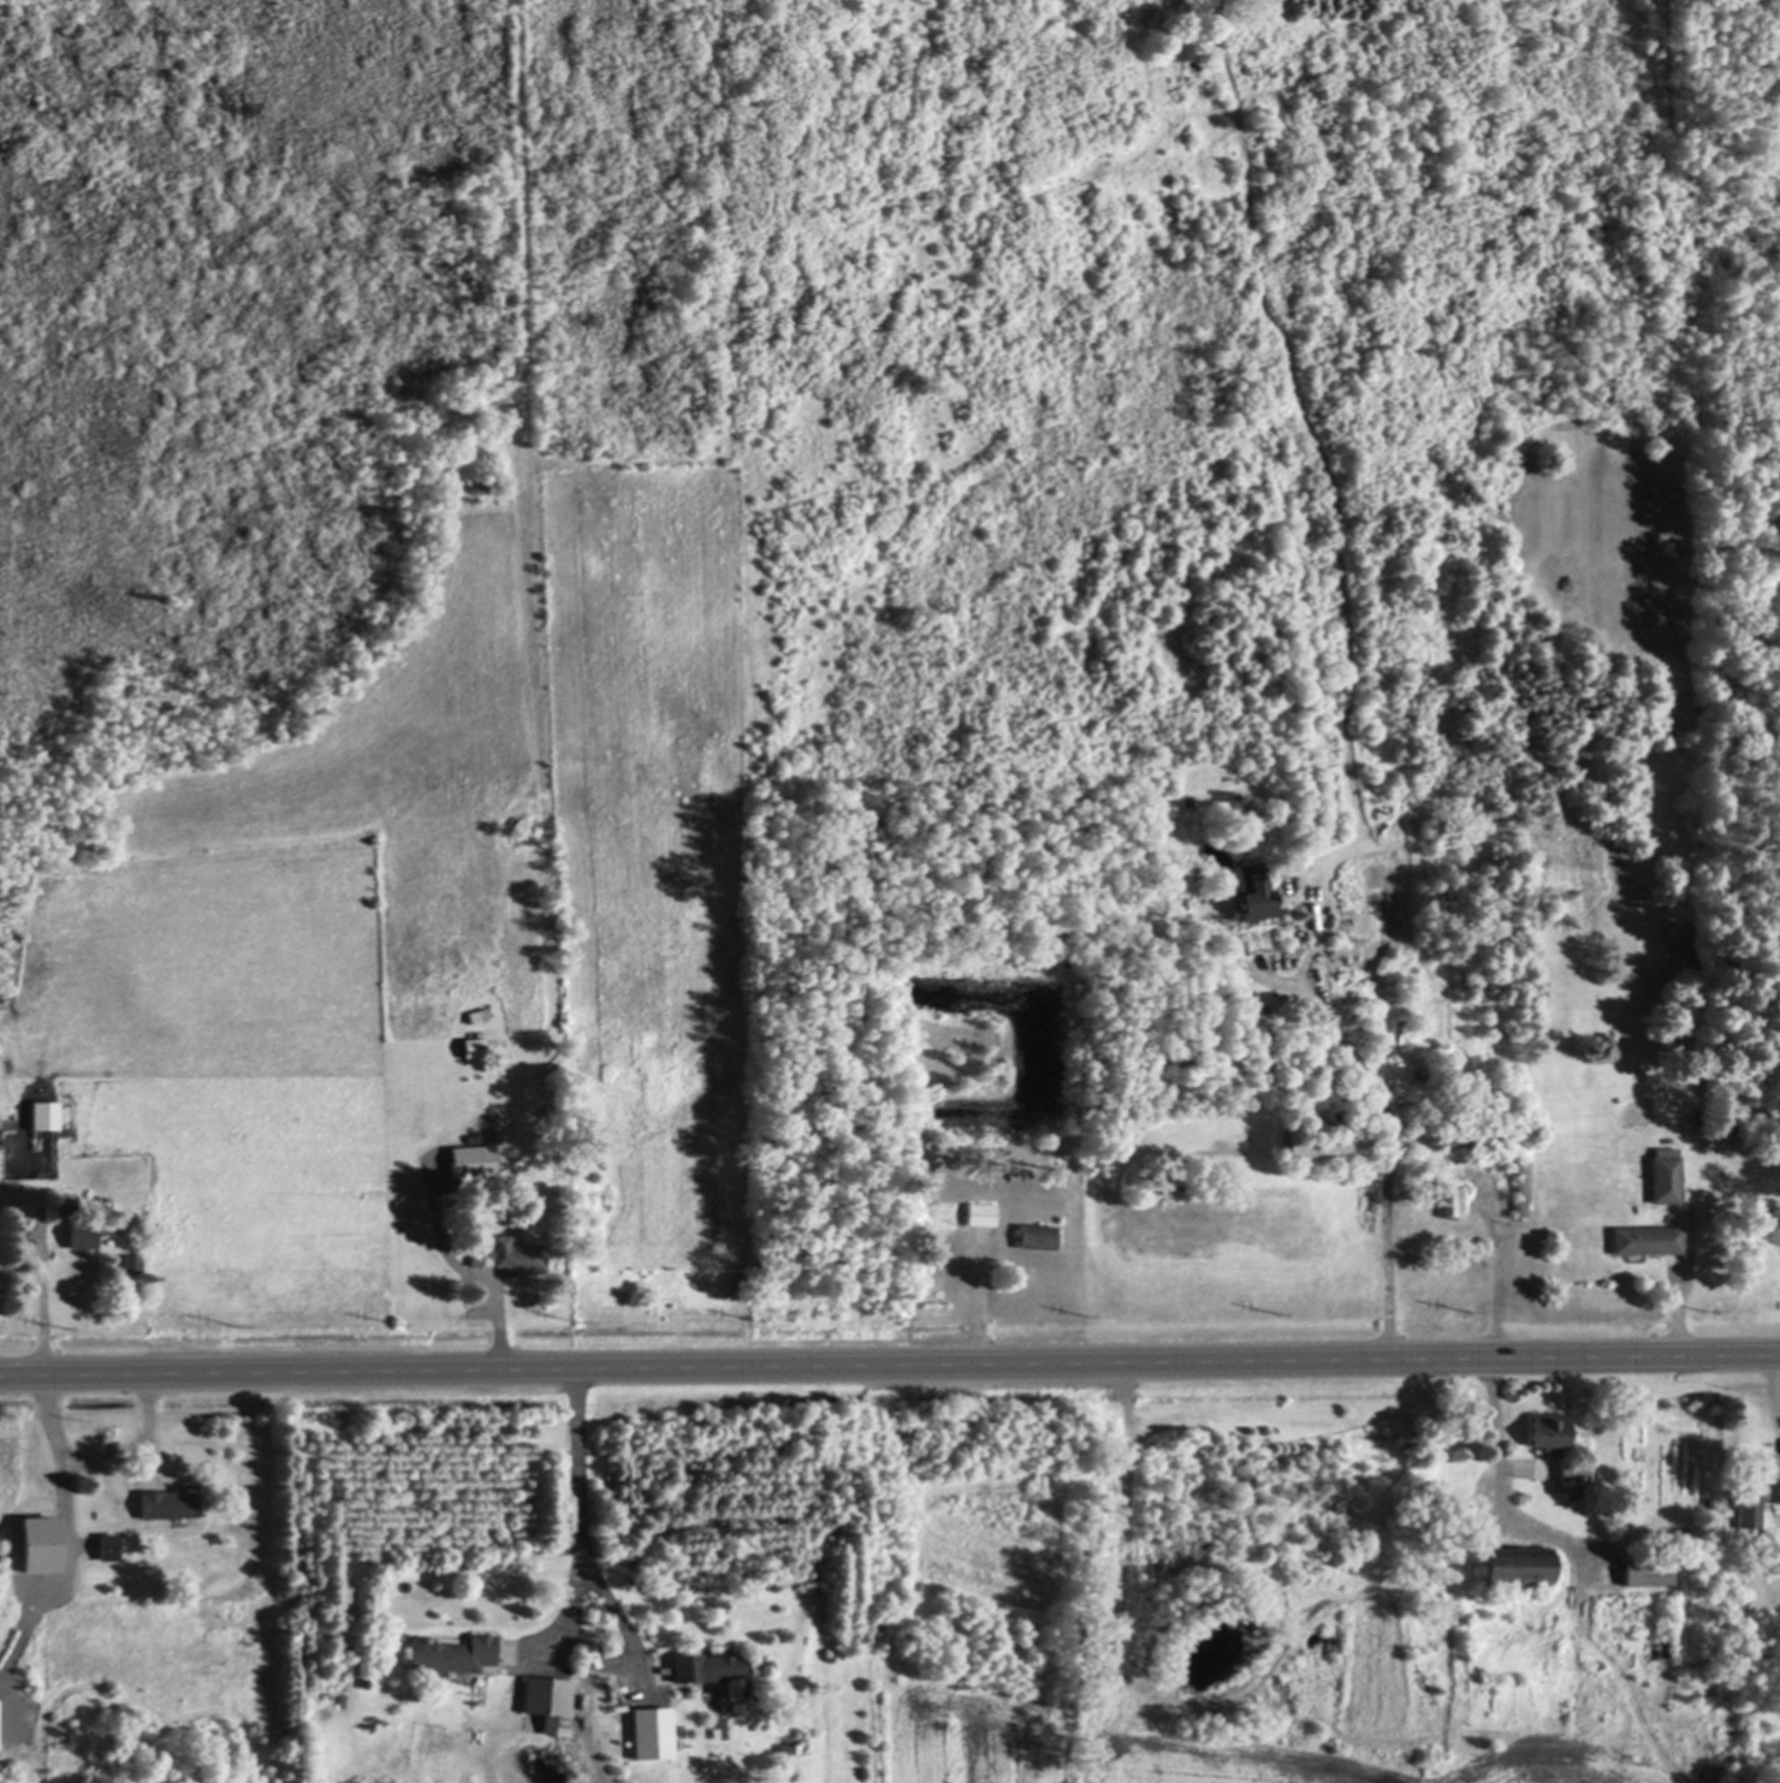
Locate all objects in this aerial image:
building: (485, 442)
building: (1301, 699)
building: (1252, 888)
building: (1340, 971)
building: (1367, 1009)
building: (479, 1012)
building: (1311, 1029)
building: (474, 1045)
building: (1419, 1071)
building: (1432, 1077)
building: (1334, 1087)
building: (1348, 1088)
building: (1359, 1096)
building: (550, 1098)
building: (44, 1113)
building: (468, 1121)
building: (1465, 1130)
building: (456, 1134)
building: (474, 1135)
building: (1327, 1140)
building: (1412, 1151)
building: (465, 1152)
building: (1733, 1155)
building: (1665, 1173)
building: (1520, 1184)
building: (1449, 1199)
building: (979, 1211)
building: (1776, 1225)
building: (84, 1228)
building: (1036, 1234)
building: (1779, 1235)
building: (1643, 1236)
building: (1779, 1238)
building: (508, 1253)
building: (133, 1260)
power tower: (1703, 1309)
power tower: (1467, 1310)
power tower: (1276, 1312)
power tower: (1085, 1313)
power tower: (752, 1317)
power tower: (394, 1321)
power tower: (574, 1321)
power tower: (230, 1323)
power tower: (57, 1324)
road: (890, 1367)
building: (1549, 1430)
building: (1573, 1464)
building: (1770, 1486)
building: (168, 1499)
building: (1749, 1506)
building: (40, 1541)
building: (108, 1543)
building: (1719, 1550)
building: (1514, 1561)
building: (1656, 1567)
building: (1663, 1647)
building: (451, 1656)
building: (712, 1668)
building: (545, 1698)
building: (722, 1726)
building: (652, 1729)
building: (789, 1747)

